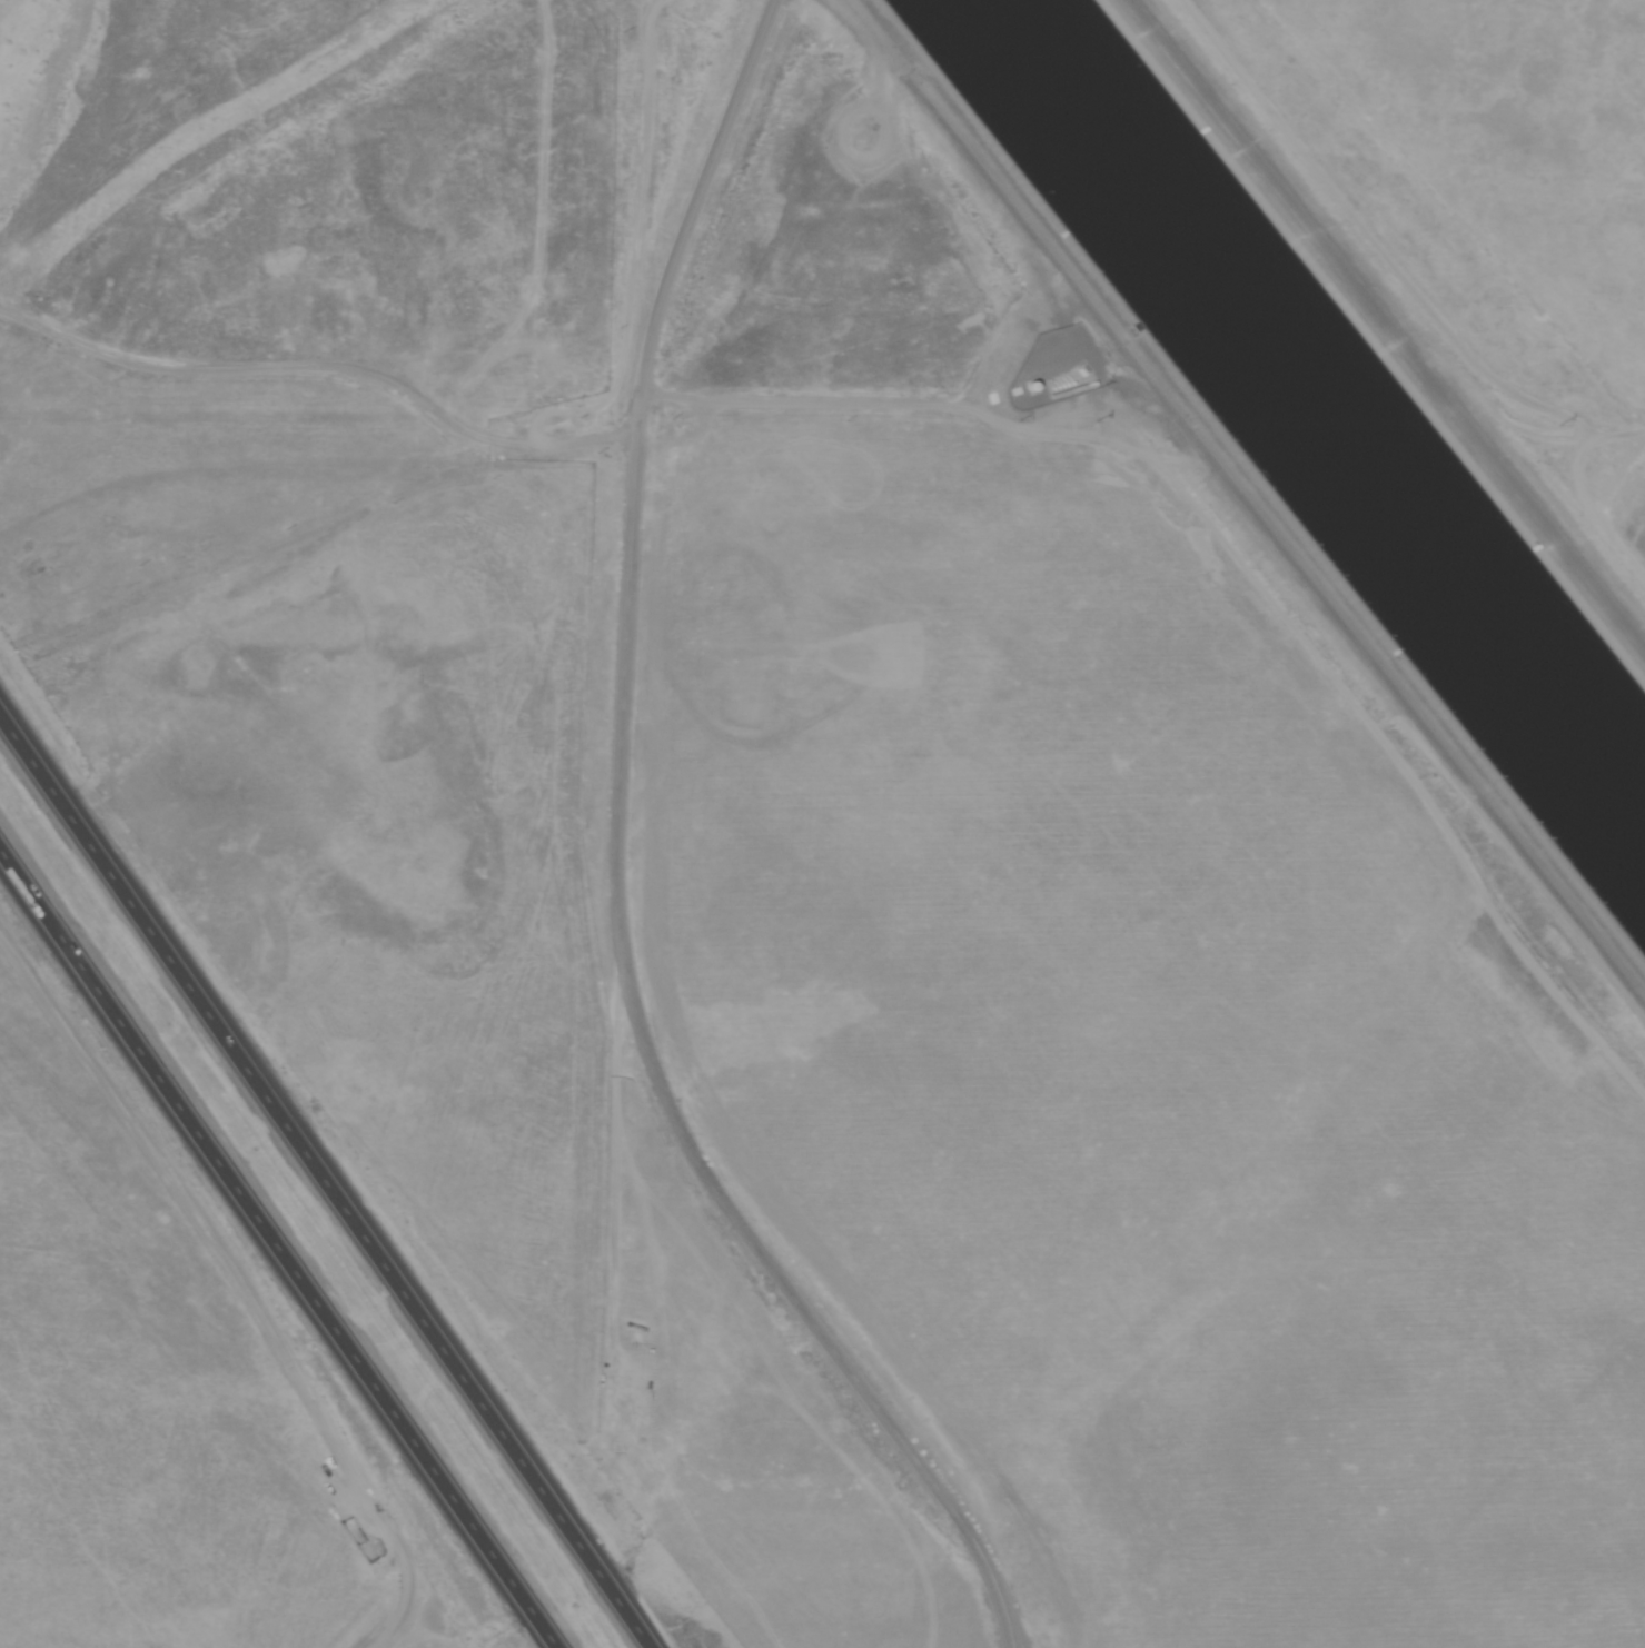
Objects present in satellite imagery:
road: (319, 374)
road: (633, 455)
crop: (1601, 488)
road: (1251, 495)
crop: (1146, 1043)
road: (329, 1175)
road: (283, 1242)
road: (246, 1282)
road: (804, 1301)

